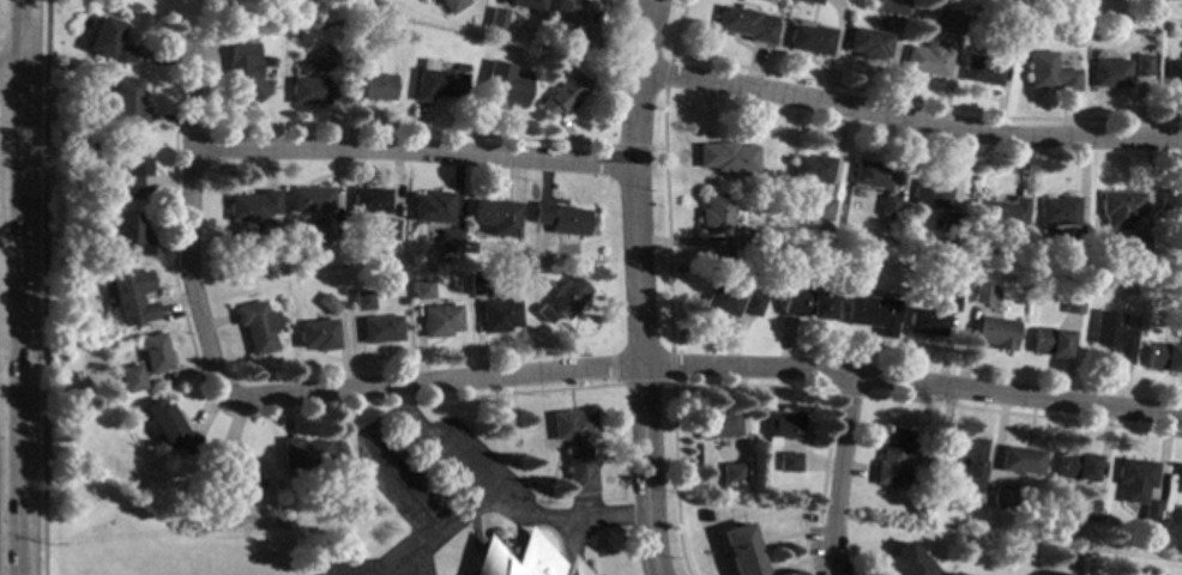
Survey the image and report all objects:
building: (810, 1)
building: (1014, 1)
building: (448, 2)
building: (529, 4)
park: (235, 6)
building: (894, 6)
building: (572, 10)
building: (497, 18)
building: (945, 20)
building: (743, 23)
road: (20, 35)
building: (102, 35)
building: (808, 38)
building: (589, 40)
building: (866, 42)
building: (253, 52)
building: (121, 54)
building: (356, 54)
building: (321, 57)
building: (924, 57)
building: (1141, 65)
building: (460, 67)
building: (978, 69)
road: (10, 71)
building: (1047, 72)
building: (1108, 72)
building: (1172, 72)
building: (438, 81)
building: (505, 84)
building: (247, 85)
building: (375, 85)
building: (308, 90)
building: (563, 92)
building: (123, 103)
road: (910, 116)
road: (20, 120)
building: (92, 143)
road: (409, 150)
building: (724, 156)
building: (809, 168)
building: (128, 170)
building: (869, 172)
building: (928, 193)
building: (310, 199)
building: (370, 200)
building: (1170, 200)
building: (253, 205)
building: (886, 205)
building: (432, 206)
building: (819, 207)
building: (1118, 207)
building: (1057, 210)
building: (713, 213)
building: (999, 213)
building: (495, 217)
building: (561, 219)
building: (886, 220)
building: (948, 220)
building: (390, 229)
road: (188, 230)
building: (324, 230)
building: (128, 232)
building: (1075, 237)
building: (741, 238)
building: (450, 241)
building: (1136, 246)
building: (470, 247)
building: (790, 253)
building: (1020, 273)
building: (477, 284)
road: (633, 286)
building: (1138, 287)
building: (421, 289)
building: (979, 292)
building: (131, 296)
building: (566, 296)
building: (362, 299)
building: (720, 299)
building: (948, 299)
building: (326, 303)
building: (749, 303)
building: (803, 303)
building: (1069, 304)
building: (869, 311)
building: (542, 313)
building: (497, 315)
building: (439, 320)
building: (923, 321)
building: (1180, 321)
building: (257, 326)
building: (380, 328)
building: (994, 332)
building: (316, 334)
building: (1111, 335)
building: (1048, 341)
building: (152, 352)
building: (1163, 357)
road: (708, 367)
road: (20, 373)
building: (128, 377)
building: (716, 423)
building: (780, 424)
building: (167, 425)
building: (574, 447)
building: (302, 454)
building: (891, 456)
building: (967, 456)
building: (1023, 460)
building: (788, 461)
building: (1075, 466)
building: (731, 472)
building: (231, 473)
road: (837, 474)
building: (1133, 479)
building: (943, 480)
building: (1178, 480)
road: (406, 492)
building: (1003, 496)
road: (499, 503)
building: (1084, 509)
building: (705, 515)
building: (1150, 515)
building: (740, 550)
road: (423, 551)
building: (523, 559)
building: (906, 562)
building: (952, 573)

